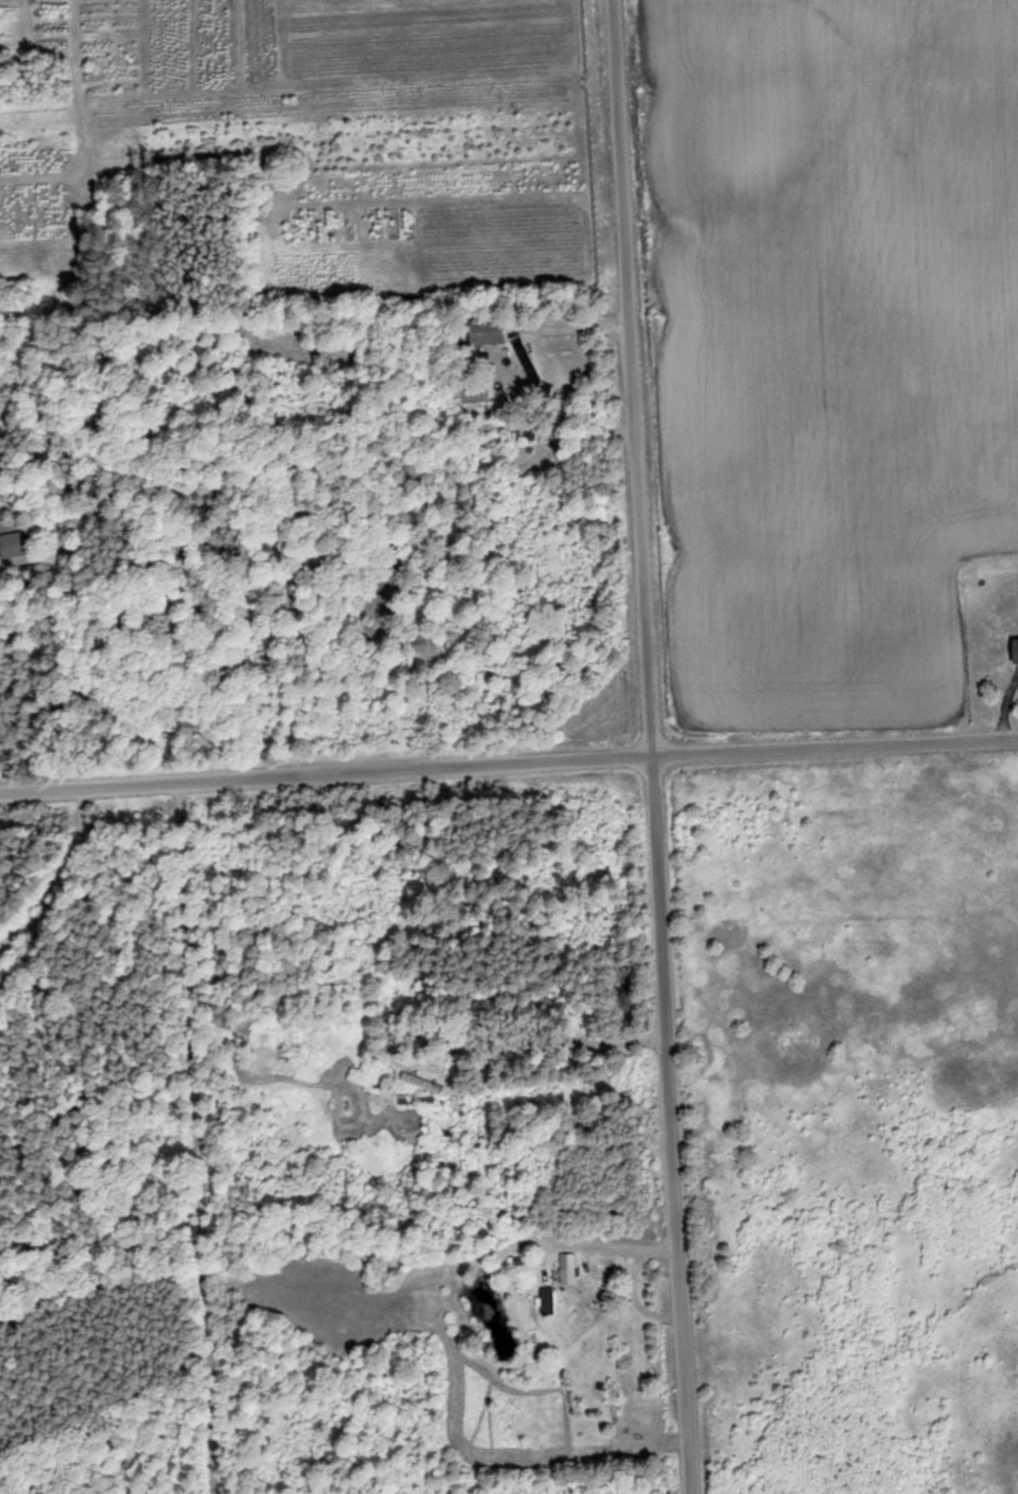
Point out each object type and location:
building: (486, 332)
crop: (840, 348)
building: (528, 363)
building: (17, 545)
building: (1002, 653)
road: (645, 747)
road: (508, 762)
building: (568, 1269)
building: (547, 1301)
building: (535, 1344)
building: (612, 1399)

